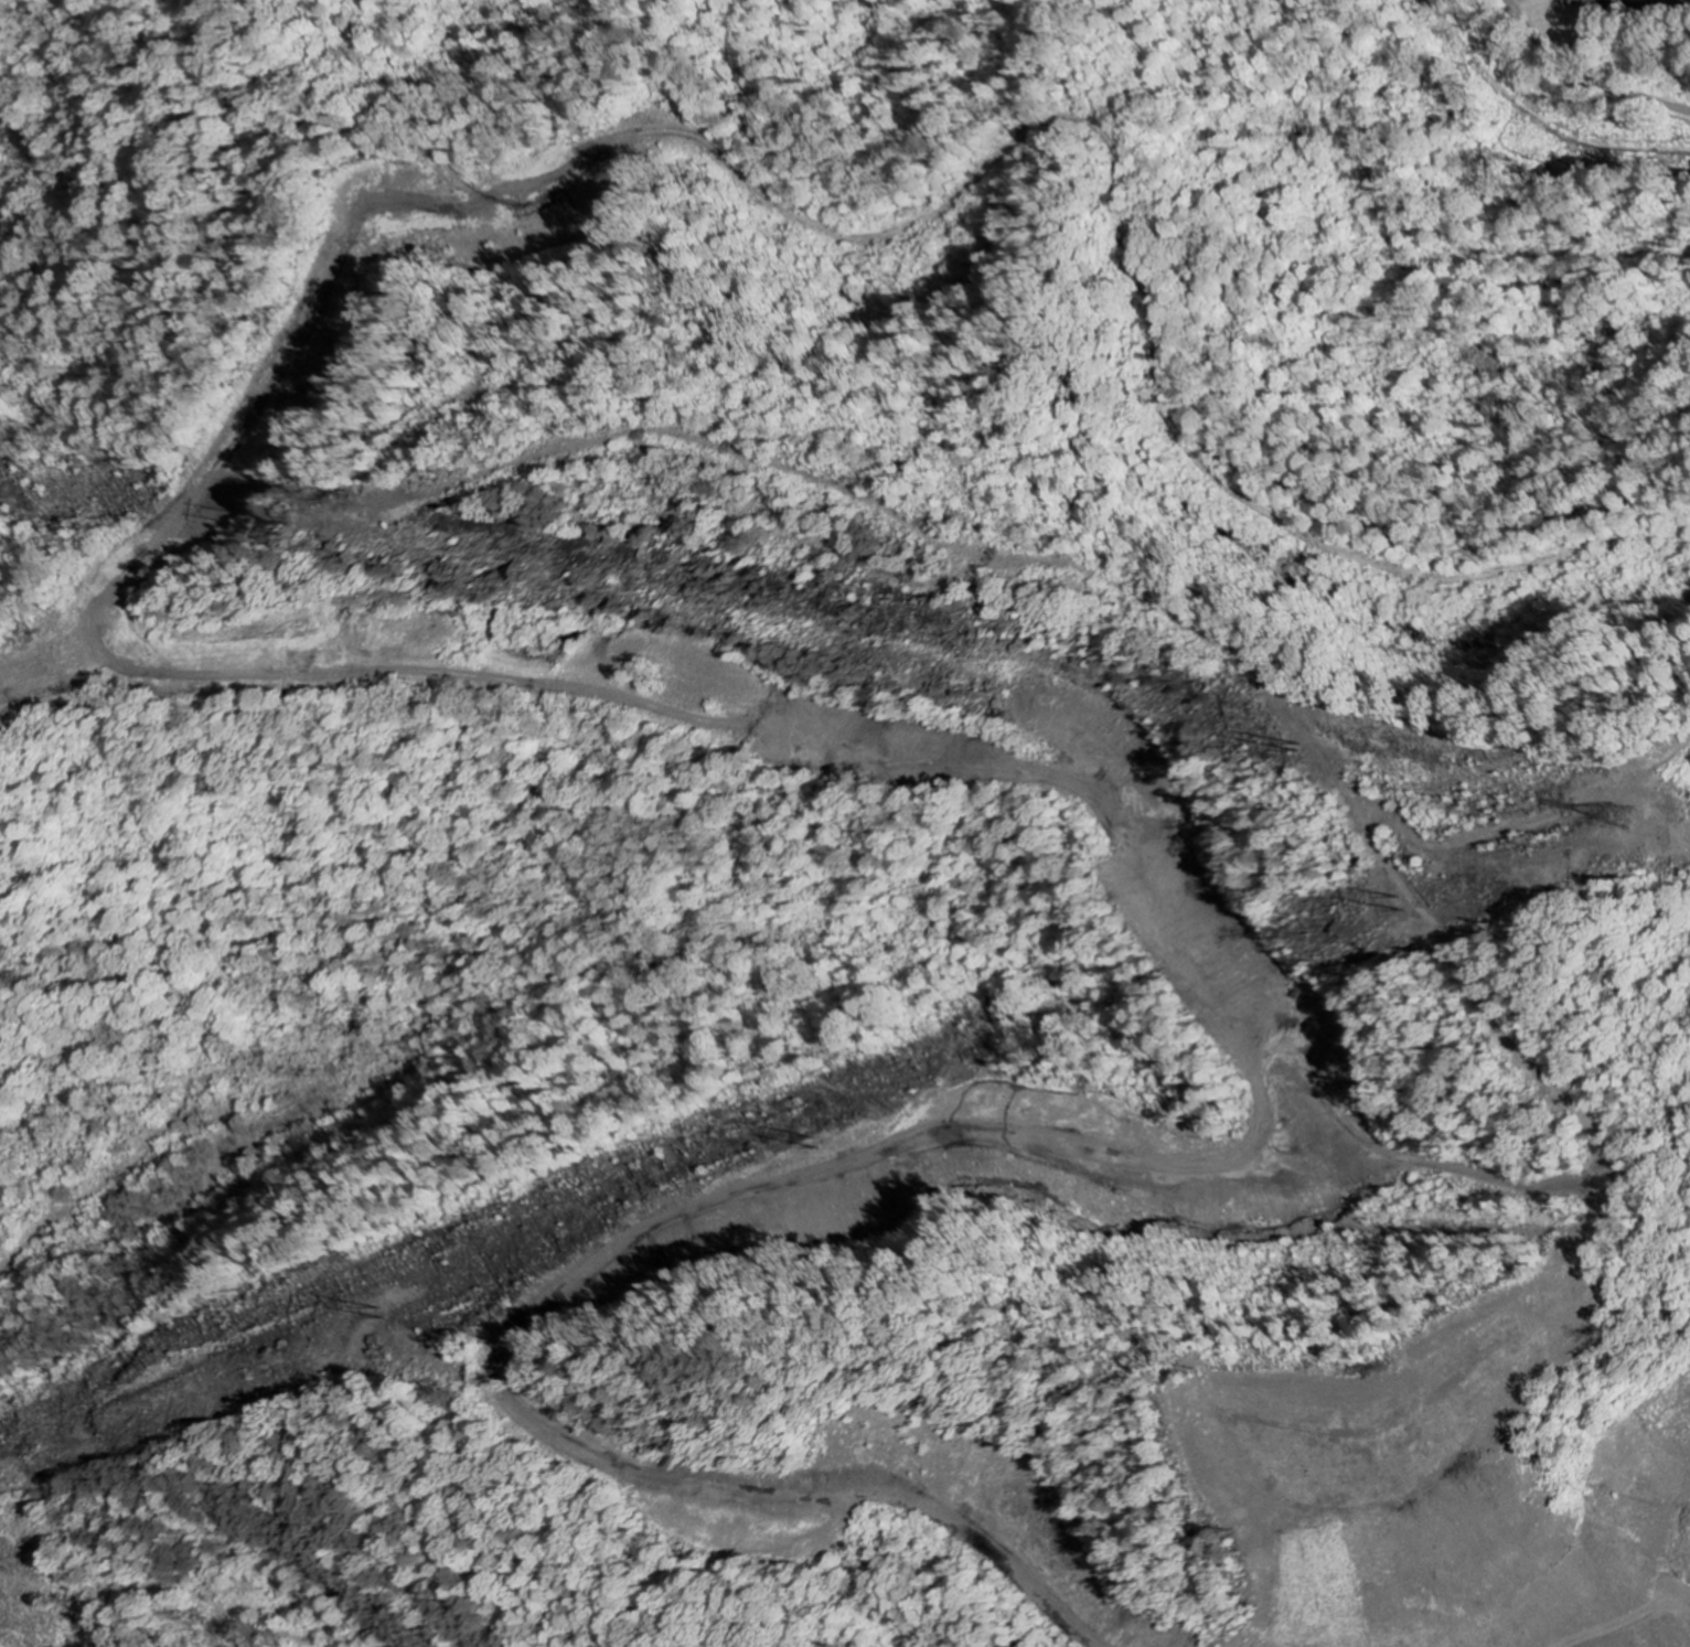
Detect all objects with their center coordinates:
road: (1583, 77)
power tower: (1607, 816)
power tower: (822, 1147)
power tower: (384, 1320)

